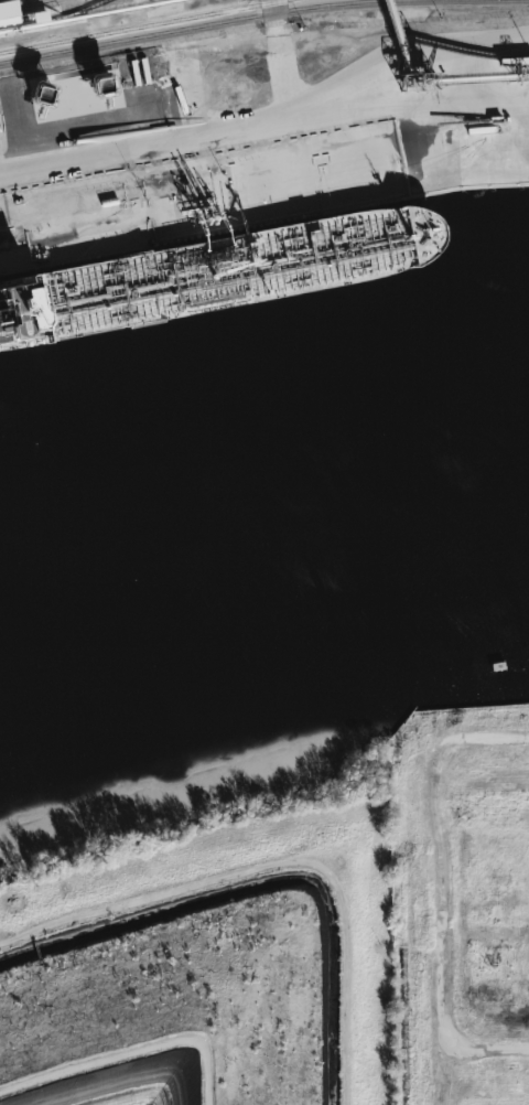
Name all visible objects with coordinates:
railway: (25, 4)
building: (3, 9)
railway: (137, 25)
road: (272, 120)
river: (262, 543)
road: (443, 891)
railway: (410, 955)

